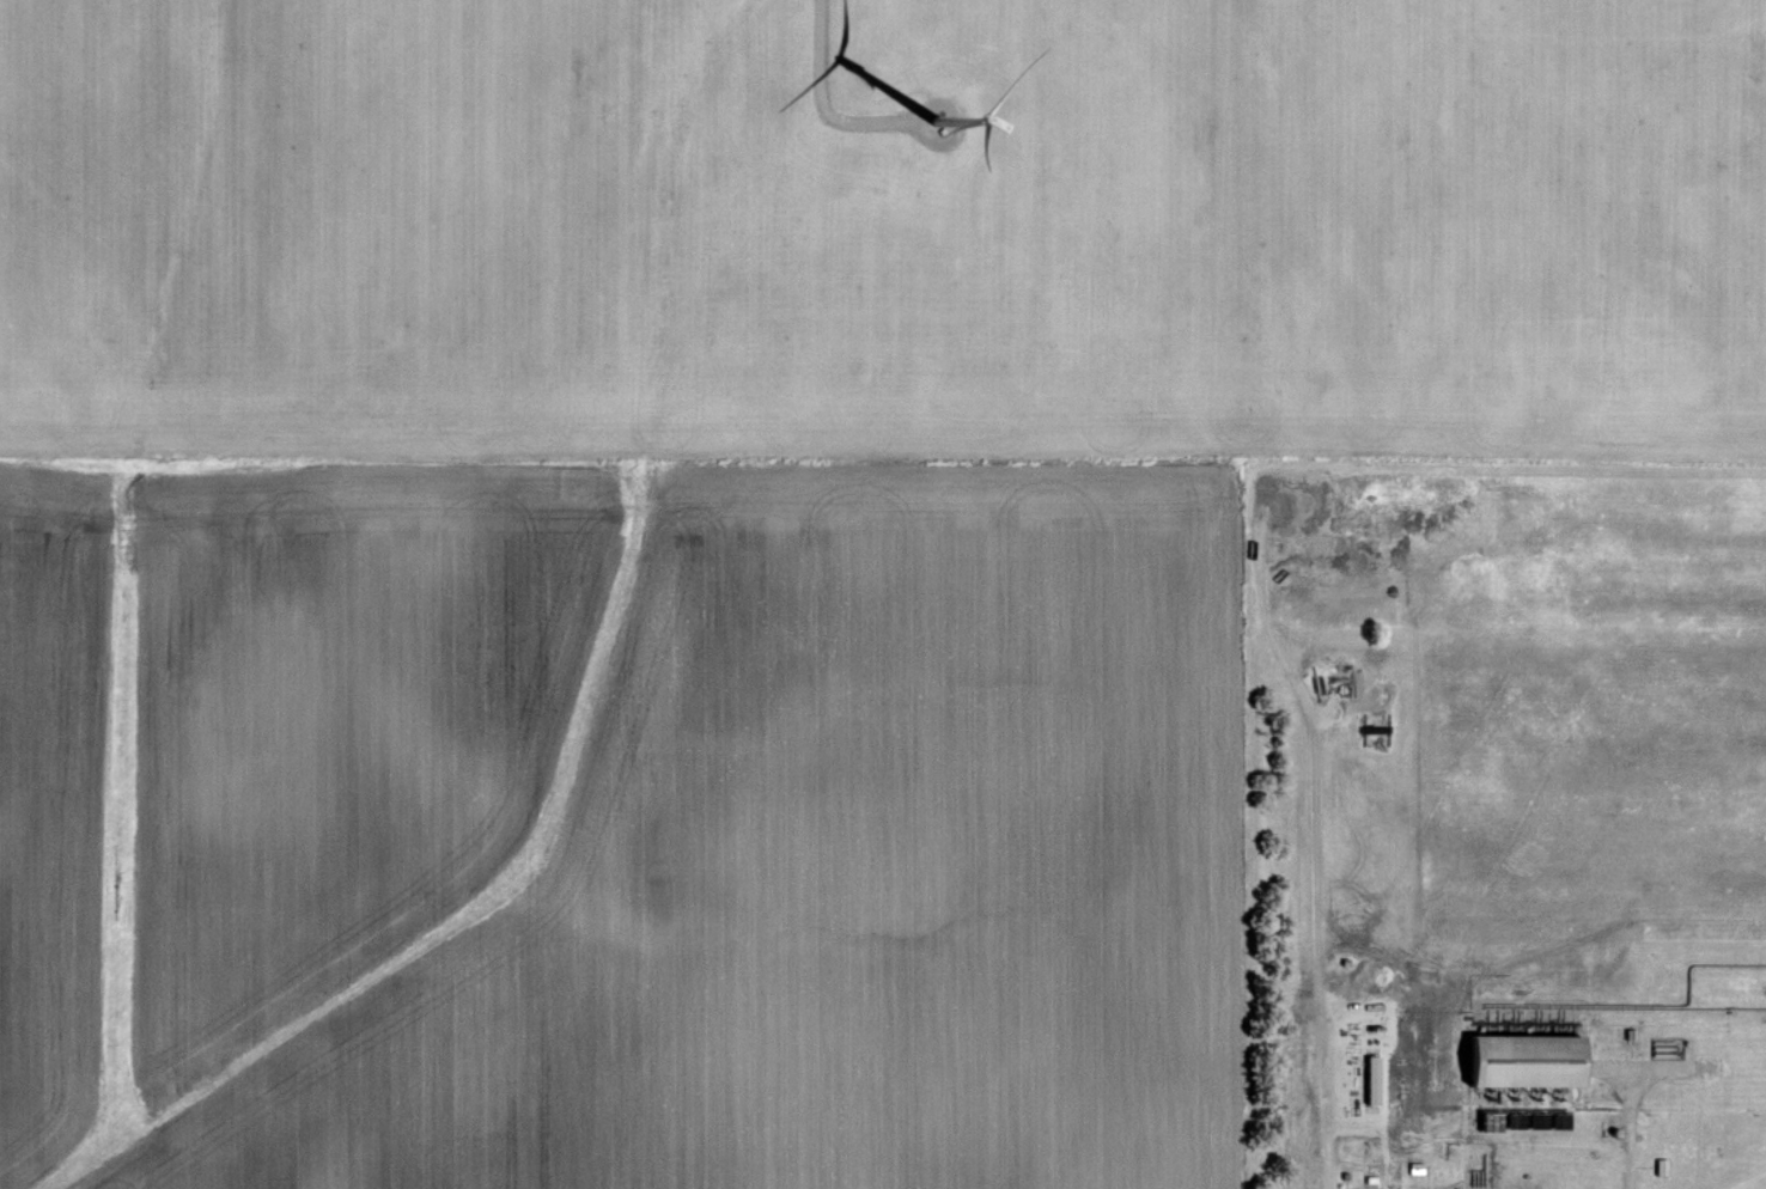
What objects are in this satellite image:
road: (823, 60)
wind turbine: (938, 120)
road: (1627, 1130)

